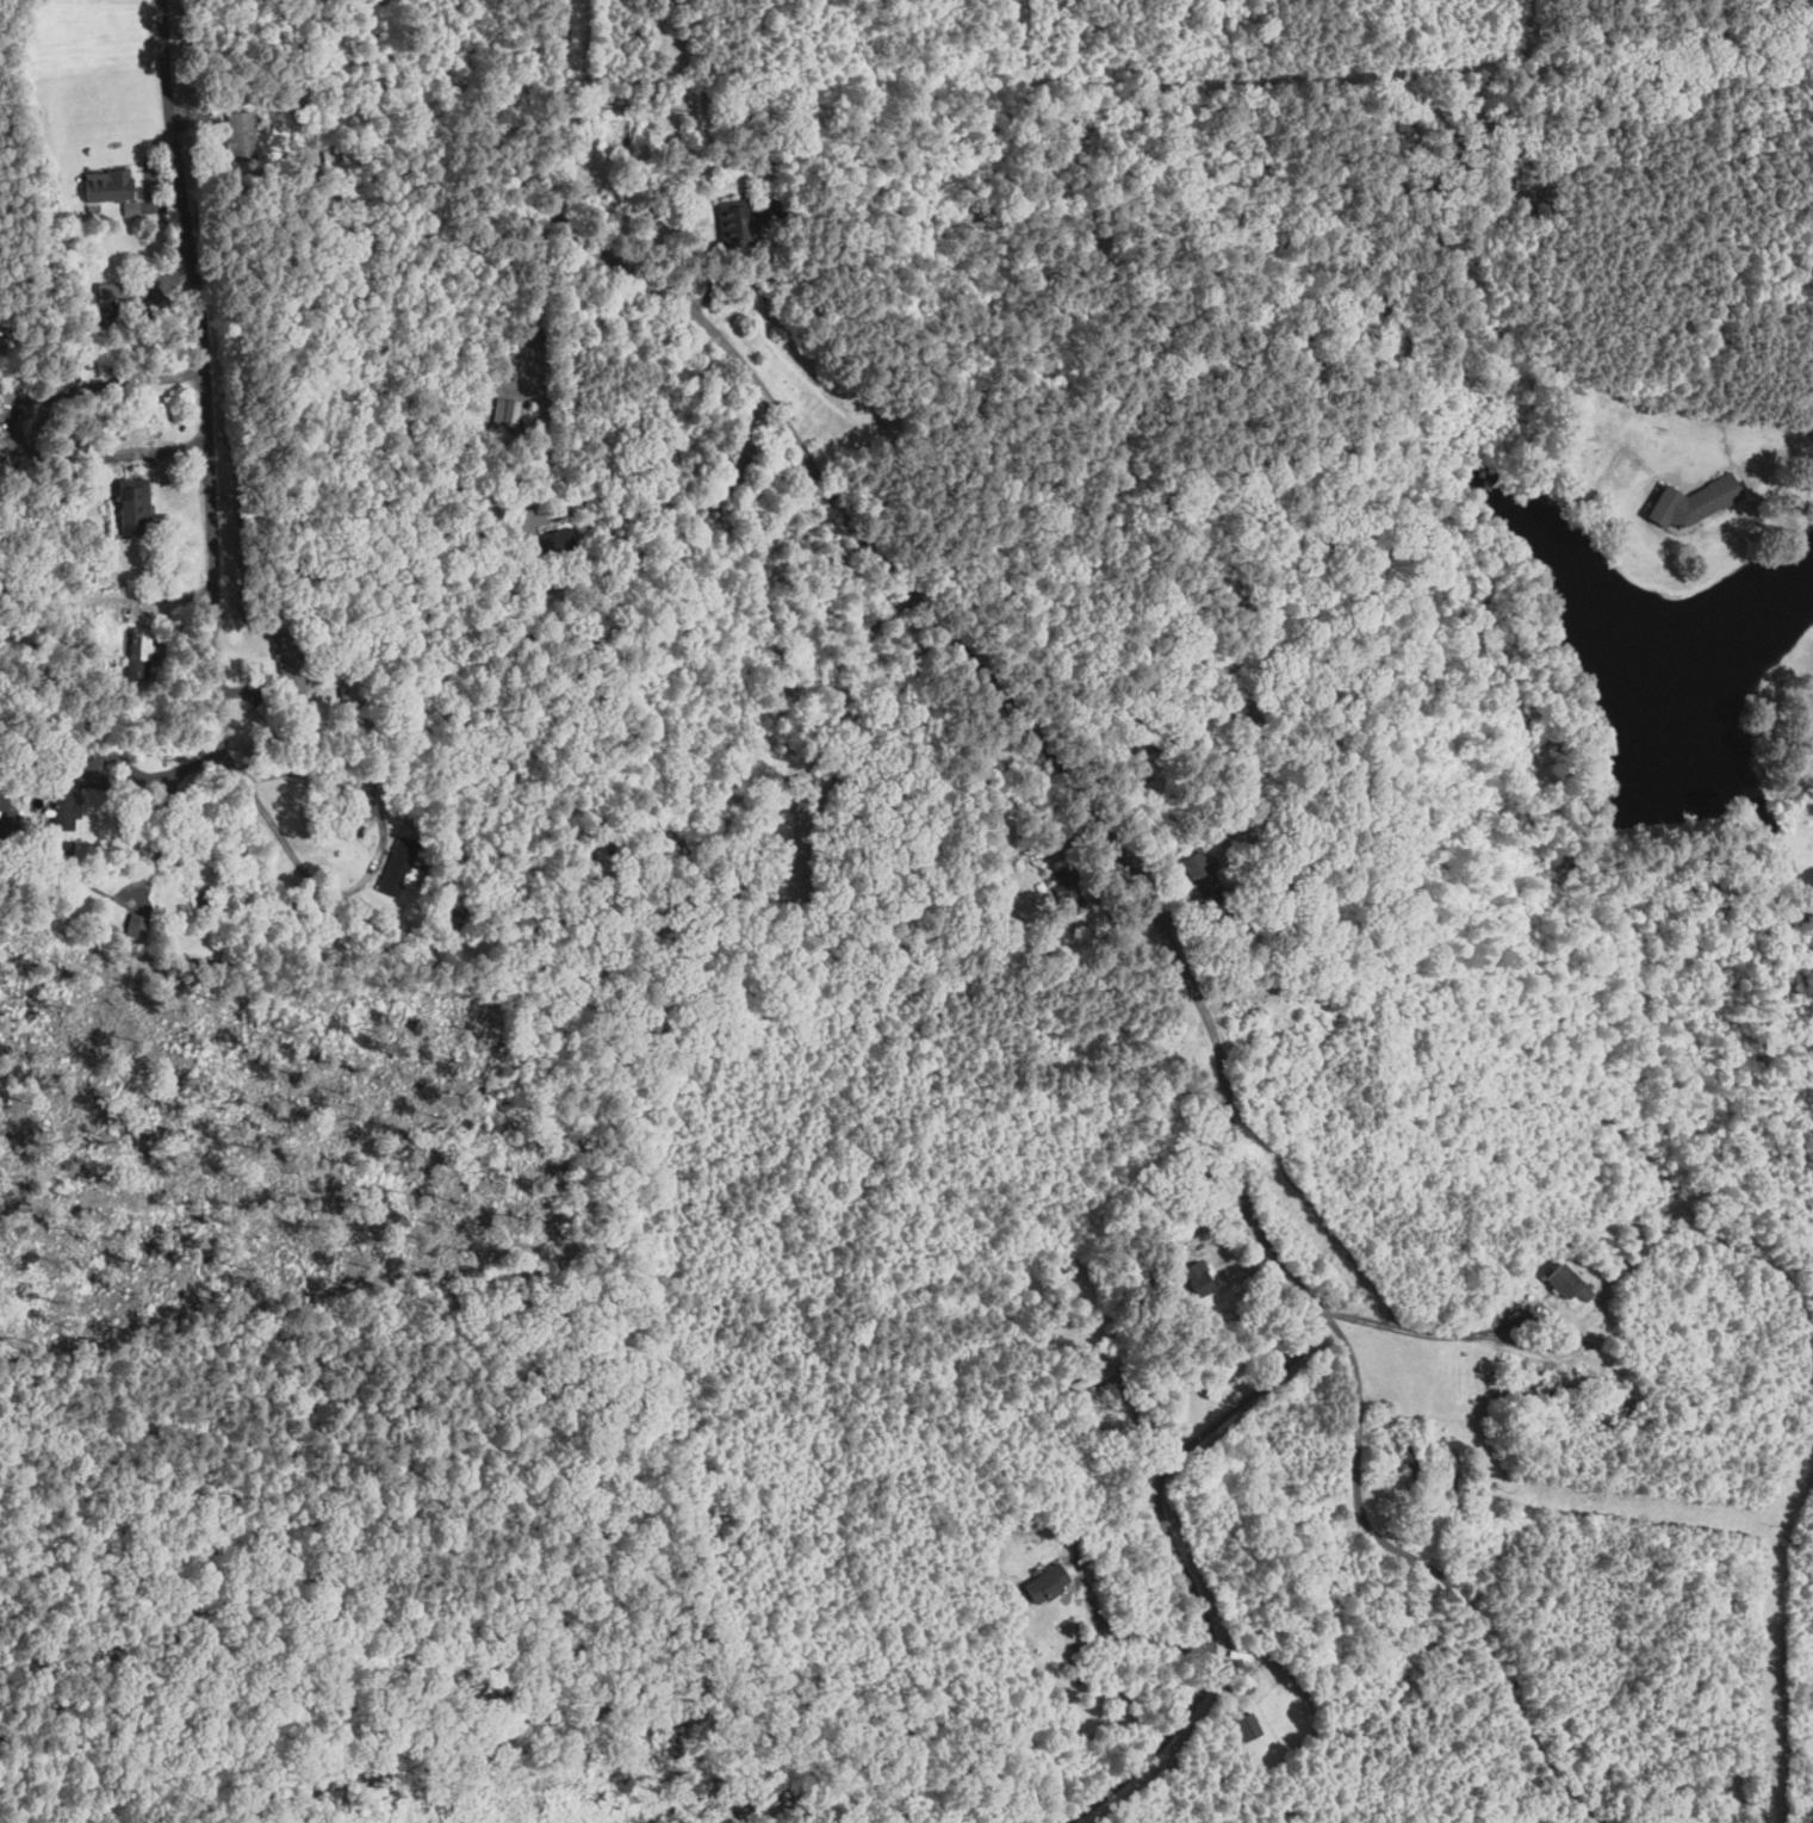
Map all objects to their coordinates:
building: (241, 134)
building: (111, 185)
building: (132, 207)
building: (728, 221)
building: (132, 294)
building: (147, 335)
road: (534, 359)
road: (205, 397)
building: (513, 414)
road: (7, 428)
road: (1787, 449)
building: (1697, 501)
building: (137, 506)
building: (557, 539)
road: (108, 544)
building: (91, 572)
building: (261, 707)
road: (126, 780)
building: (37, 831)
road: (379, 852)
road: (1135, 876)
building: (396, 881)
building: (136, 925)
building: (1200, 1275)
building: (1572, 1282)
road: (1423, 1332)
road: (68, 1364)
building: (1542, 1387)
road: (1181, 1562)
building: (1079, 1565)
building: (1042, 1579)
building: (1248, 1725)

